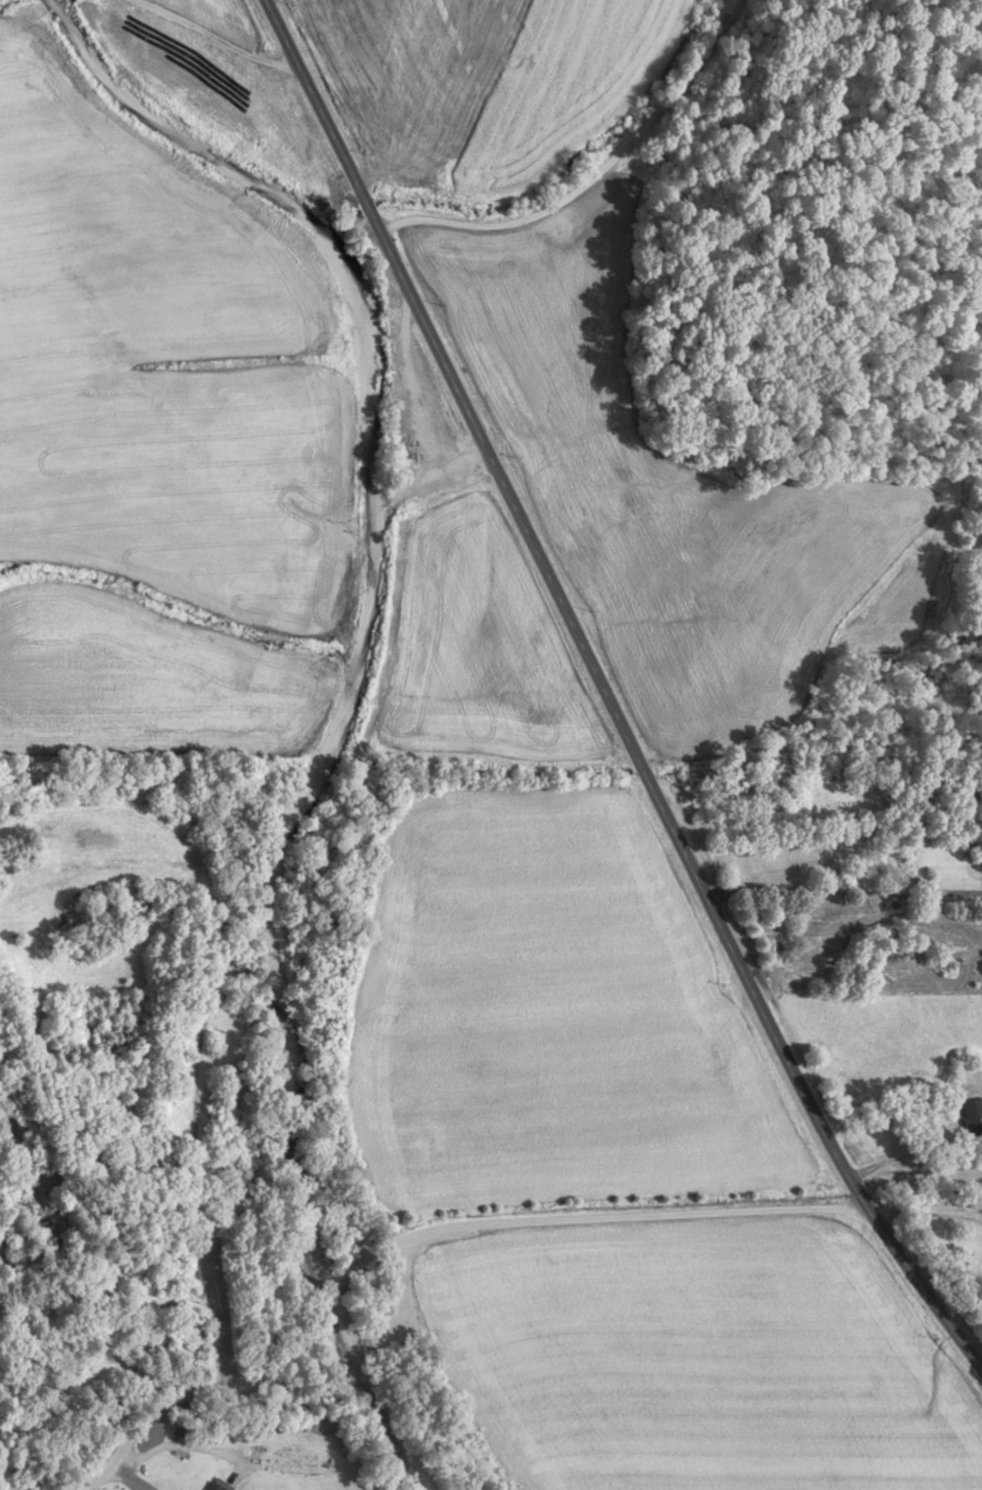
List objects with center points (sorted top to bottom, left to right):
building: (537, 142)
road: (595, 181)
road: (607, 695)
road: (843, 889)
building: (972, 1112)
building: (3, 1130)
road: (921, 1203)
building: (46, 1236)
road: (419, 1236)
road: (137, 1322)
building: (217, 1486)

